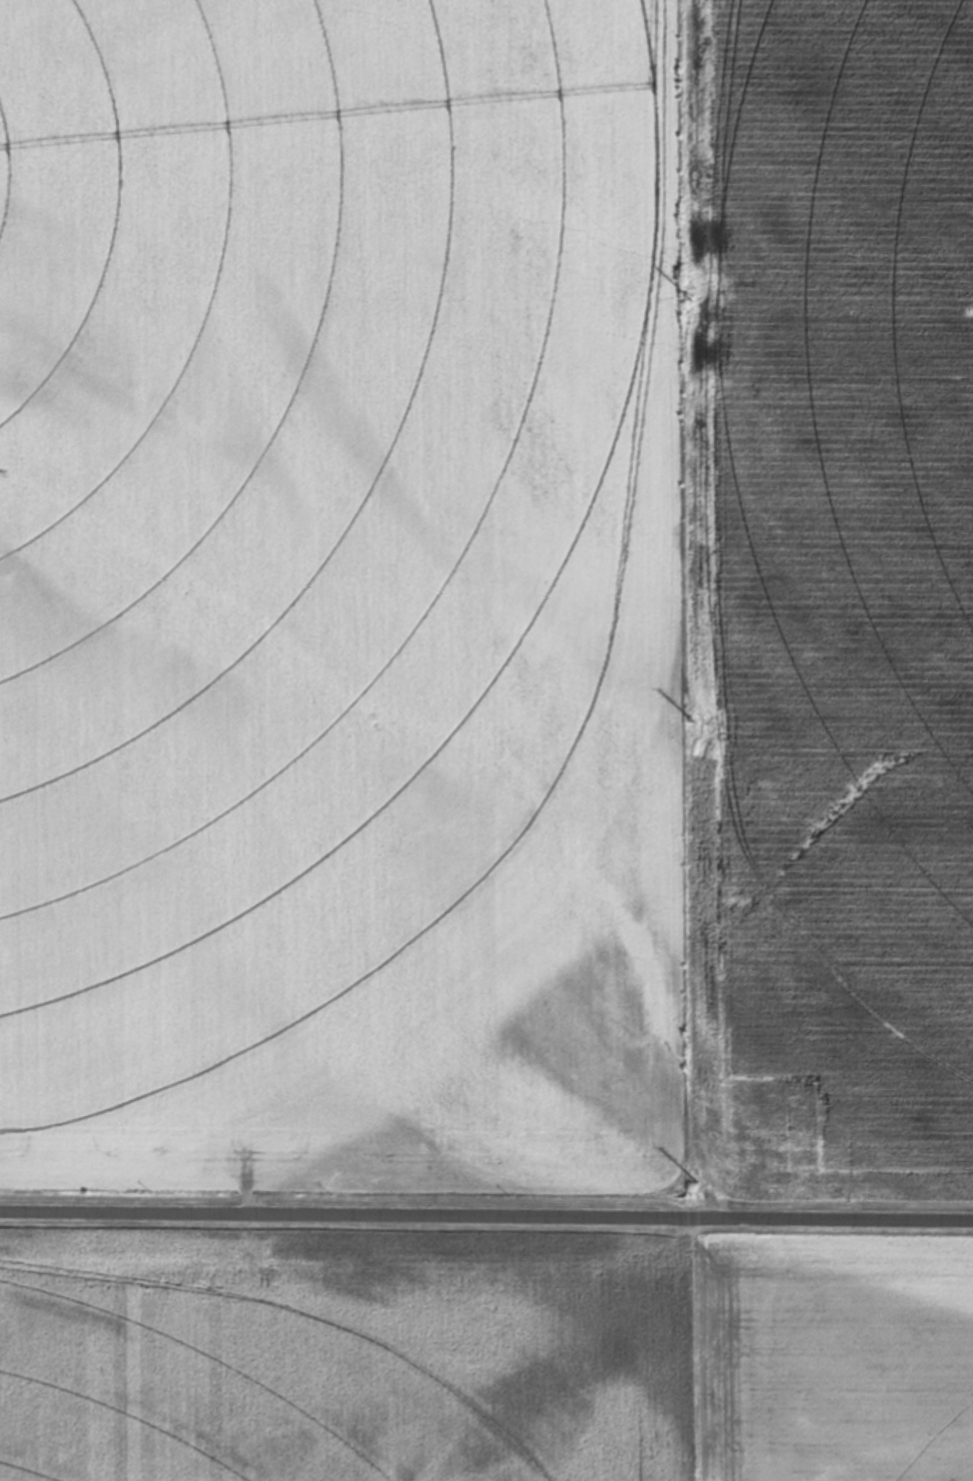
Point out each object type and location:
road: (486, 1221)

